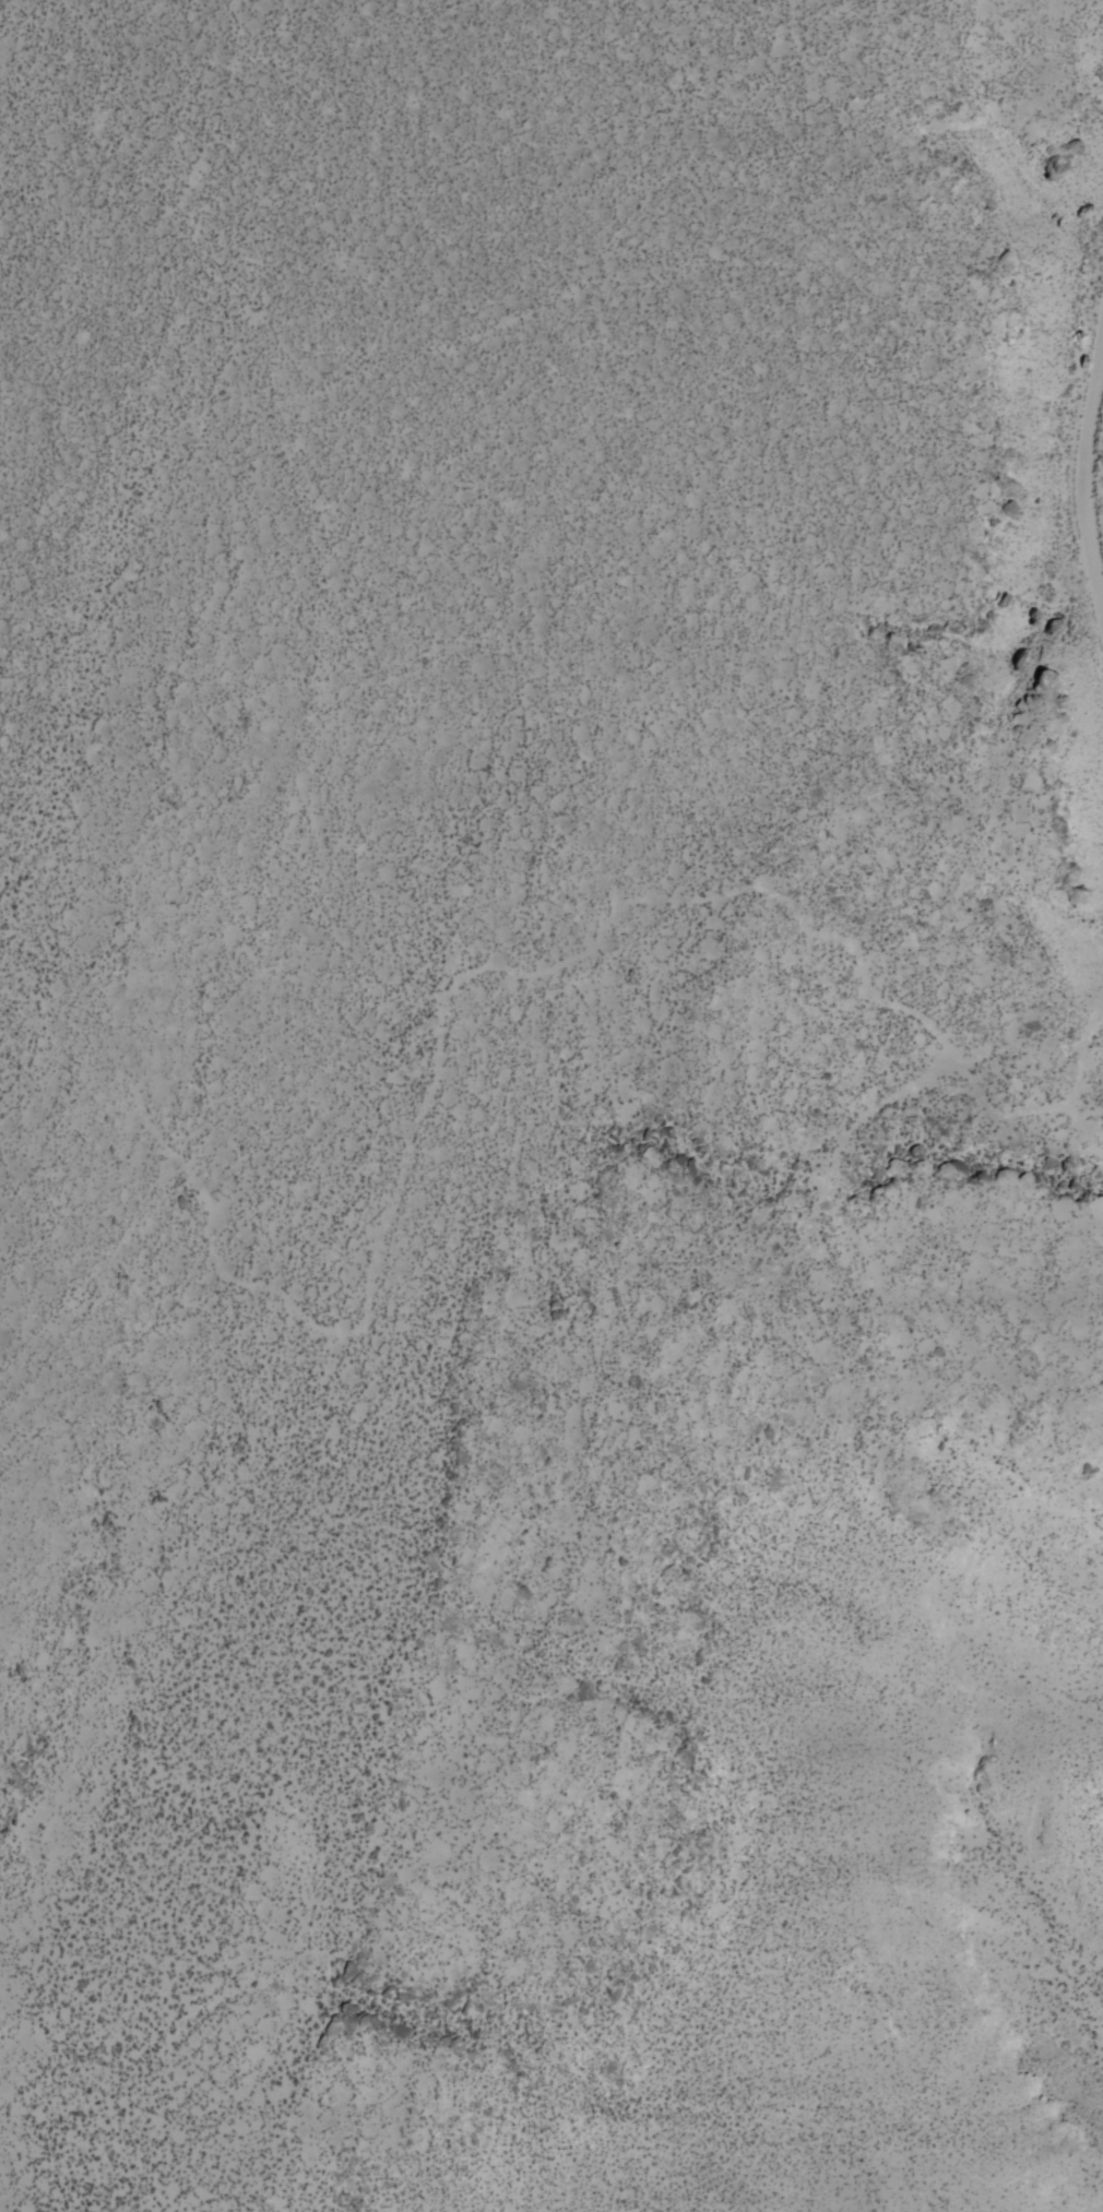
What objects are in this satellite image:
road: (1086, 457)

